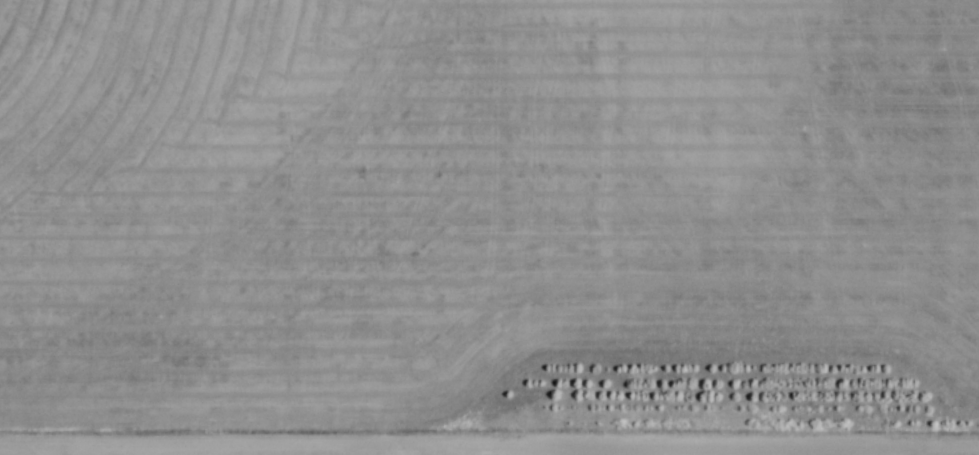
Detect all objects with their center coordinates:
crop: (460, 204)
crop: (662, 451)

